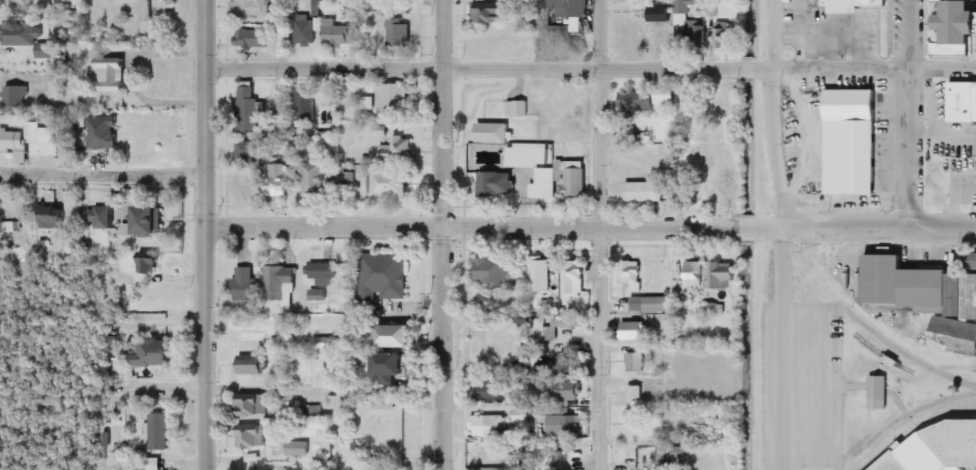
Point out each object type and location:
building: (852, 2)
building: (134, 8)
building: (569, 8)
building: (251, 9)
building: (491, 13)
building: (673, 13)
building: (955, 28)
building: (304, 33)
building: (397, 33)
building: (339, 35)
building: (724, 36)
building: (28, 37)
building: (253, 39)
road: (588, 62)
building: (111, 73)
building: (15, 95)
building: (365, 97)
building: (391, 98)
building: (646, 101)
building: (963, 102)
building: (305, 105)
building: (577, 105)
building: (248, 109)
building: (282, 109)
building: (517, 109)
road: (910, 111)
road: (771, 113)
building: (103, 132)
building: (493, 133)
building: (26, 139)
building: (852, 141)
building: (396, 149)
building: (245, 154)
building: (552, 171)
road: (103, 174)
building: (277, 180)
building: (313, 180)
building: (388, 184)
building: (495, 185)
building: (644, 191)
building: (54, 217)
building: (101, 217)
building: (150, 221)
road: (591, 223)
road: (205, 234)
road: (441, 235)
road: (600, 235)
railway: (753, 235)
building: (971, 261)
building: (150, 263)
building: (493, 272)
railway: (820, 273)
building: (322, 274)
building: (631, 274)
building: (693, 274)
building: (539, 275)
building: (722, 275)
building: (382, 277)
building: (574, 277)
building: (244, 285)
building: (280, 285)
building: (919, 288)
building: (318, 296)
building: (650, 304)
building: (566, 323)
building: (634, 332)
building: (395, 336)
road: (782, 346)
building: (152, 353)
building: (315, 361)
building: (564, 362)
building: (635, 362)
building: (252, 365)
building: (390, 368)
road: (164, 381)
parking lot: (802, 384)
road: (322, 391)
building: (492, 392)
building: (568, 392)
building: (878, 392)
building: (635, 394)
building: (336, 403)
building: (250, 404)
building: (310, 413)
building: (519, 416)
building: (563, 425)
building: (488, 426)
building: (159, 432)
road: (879, 432)
building: (251, 436)
building: (296, 449)
building: (936, 449)
building: (660, 459)
building: (256, 466)

